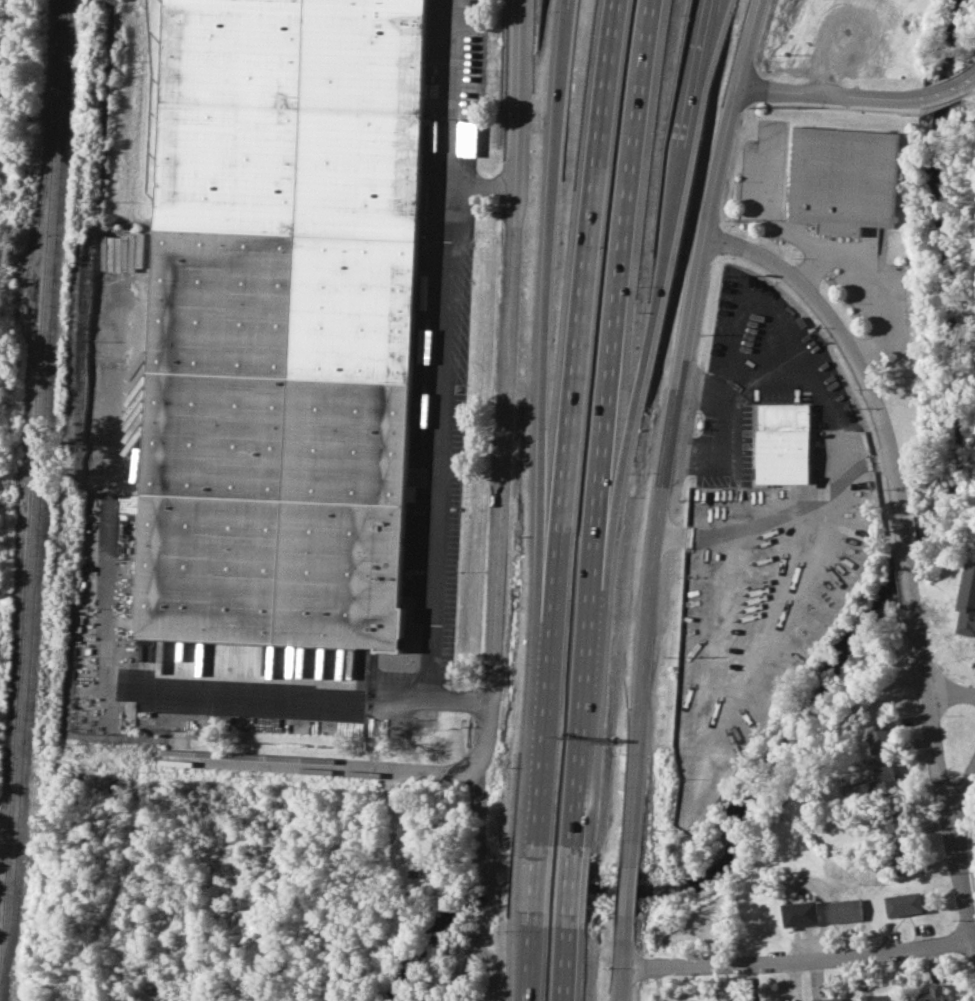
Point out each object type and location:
road: (713, 14)
road: (971, 71)
road: (944, 85)
road: (829, 92)
building: (840, 174)
road: (478, 186)
railway: (33, 229)
road: (579, 265)
road: (614, 265)
road: (875, 282)
building: (280, 321)
road: (846, 344)
road: (436, 351)
road: (638, 364)
road: (503, 376)
road: (759, 377)
road: (536, 389)
road: (668, 428)
building: (783, 444)
road: (720, 453)
building: (411, 493)
railway: (39, 494)
road: (777, 518)
road: (906, 566)
building: (967, 601)
road: (582, 618)
river: (859, 626)
road: (104, 655)
road: (542, 694)
road: (949, 694)
road: (928, 714)
road: (177, 721)
building: (879, 736)
road: (334, 764)
road: (572, 779)
building: (886, 779)
road: (961, 801)
building: (894, 819)
road: (960, 873)
road: (532, 885)
road: (565, 886)
road: (623, 891)
building: (905, 904)
building: (845, 910)
building: (800, 913)
road: (527, 958)
road: (617, 958)
road: (560, 959)
road: (796, 964)
building: (934, 993)
building: (877, 997)
building: (827, 999)
building: (790, 1000)

